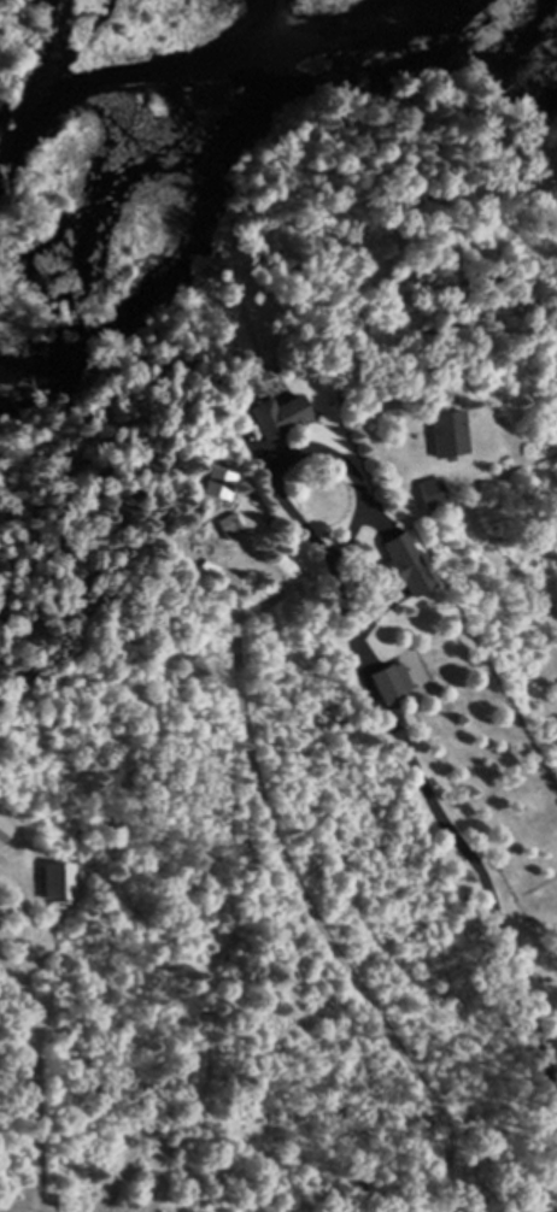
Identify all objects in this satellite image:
river: (111, 51)
building: (272, 410)
building: (444, 426)
road: (309, 447)
building: (426, 486)
building: (224, 517)
building: (399, 557)
road: (500, 558)
building: (385, 673)
road: (441, 817)
building: (2, 823)
building: (53, 872)
road: (316, 906)
road: (37, 1082)

